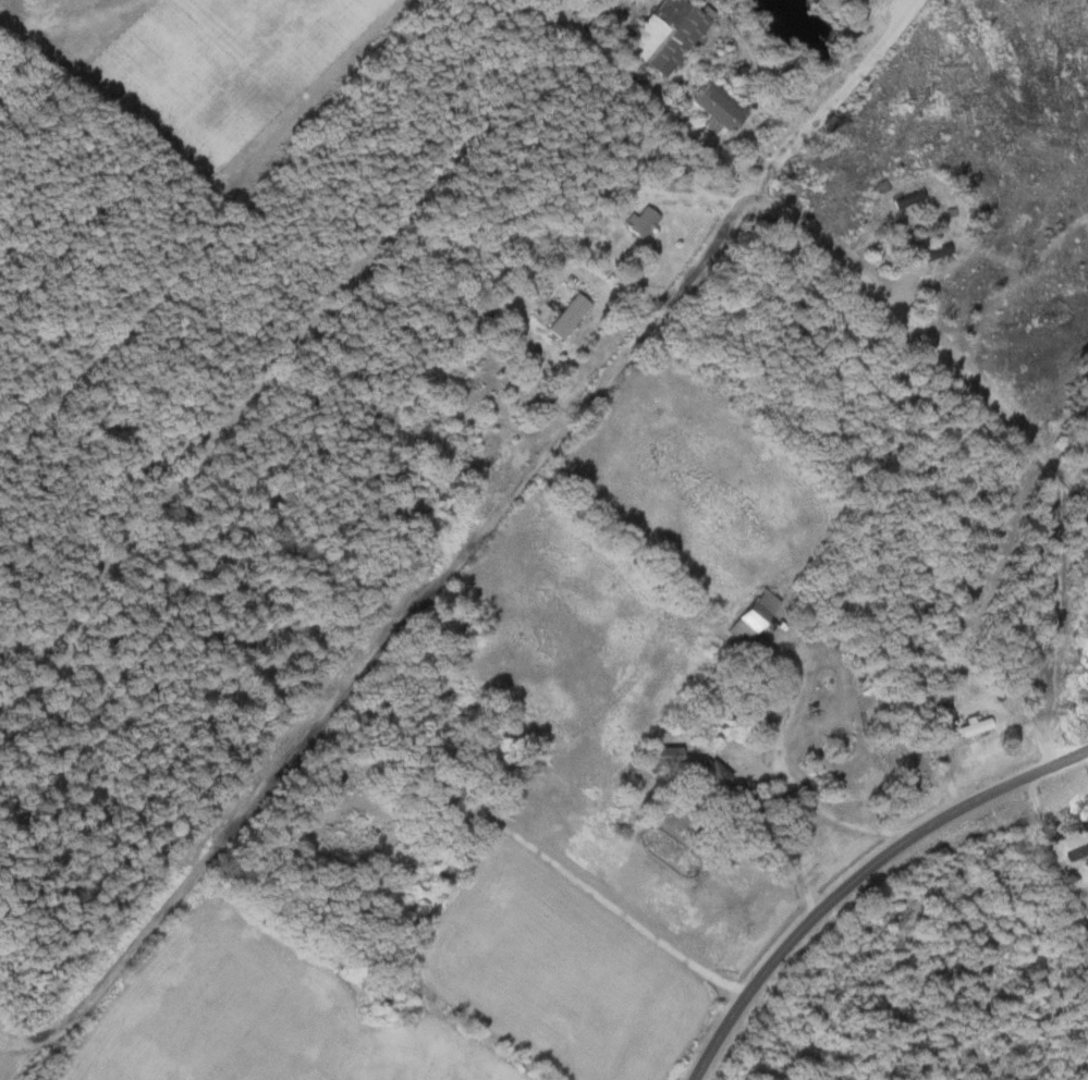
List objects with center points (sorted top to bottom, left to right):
building: (664, 35)
road: (660, 99)
road: (838, 100)
building: (718, 107)
building: (907, 200)
building: (639, 223)
building: (936, 257)
building: (566, 318)
road: (1017, 428)
building: (750, 616)
road: (386, 639)
building: (974, 727)
building: (660, 757)
building: (878, 774)
building: (708, 780)
building: (353, 845)
building: (1079, 845)
road: (857, 875)

